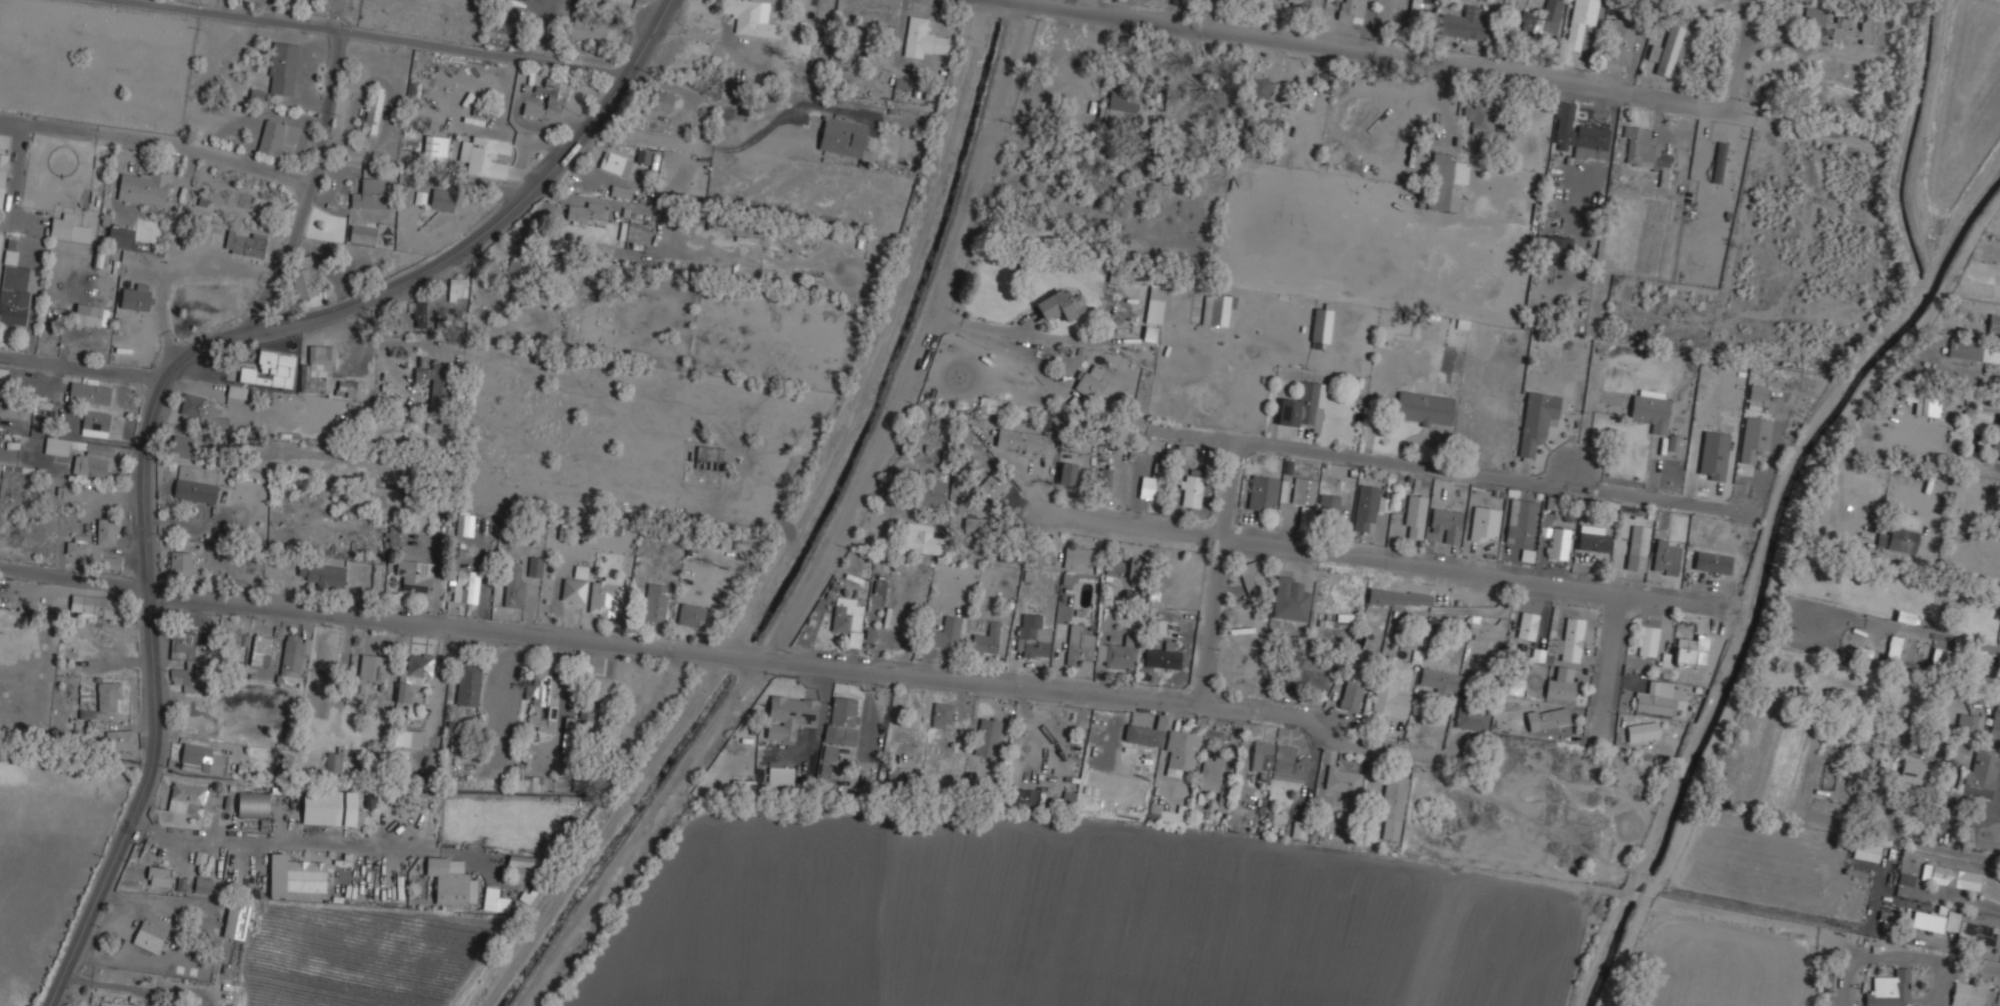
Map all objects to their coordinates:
building: (1298, 1)
building: (614, 8)
building: (1351, 10)
building: (1414, 11)
building: (749, 17)
building: (1542, 21)
building: (1580, 21)
building: (1465, 24)
building: (1840, 24)
building: (585, 28)
building: (495, 29)
road: (376, 35)
building: (922, 39)
building: (1620, 42)
building: (1672, 50)
building: (1653, 53)
road: (1417, 56)
building: (282, 68)
building: (1257, 90)
building: (548, 101)
building: (663, 101)
building: (372, 110)
building: (1118, 110)
building: (1481, 116)
building: (1263, 125)
building: (1578, 135)
building: (271, 137)
building: (842, 137)
road: (157, 138)
building: (434, 148)
building: (1645, 152)
building: (484, 156)
building: (643, 156)
building: (615, 163)
building: (1718, 163)
building: (2, 169)
building: (1443, 180)
building: (142, 186)
road: (307, 190)
building: (370, 193)
building: (442, 200)
building: (584, 212)
building: (67, 227)
building: (361, 234)
building: (633, 234)
building: (120, 237)
building: (244, 242)
building: (1557, 246)
building: (520, 268)
building: (304, 276)
building: (13, 288)
building: (457, 288)
building: (135, 297)
building: (1061, 305)
building: (1155, 305)
building: (1214, 310)
building: (418, 313)
building: (90, 315)
building: (390, 321)
building: (1993, 324)
building: (1149, 334)
road: (877, 335)
building: (1974, 349)
building: (315, 367)
road: (82, 368)
building: (270, 370)
road: (166, 376)
building: (1092, 383)
building: (436, 384)
building: (350, 389)
building: (88, 391)
building: (1756, 393)
building: (1926, 405)
building: (994, 406)
building: (1303, 407)
building: (9, 408)
building: (1423, 408)
building: (1651, 410)
building: (202, 411)
building: (41, 413)
building: (1537, 421)
building: (94, 422)
road: (1192, 435)
building: (1995, 437)
road: (1584, 439)
building: (1754, 439)
building: (1020, 440)
building: (55, 445)
building: (1144, 445)
building: (181, 446)
building: (1714, 455)
building: (93, 460)
road: (1444, 470)
building: (1067, 474)
building: (1104, 481)
building: (992, 484)
building: (194, 491)
building: (1191, 491)
building: (69, 492)
building: (1303, 492)
building: (1262, 493)
building: (929, 494)
building: (1329, 504)
building: (1365, 507)
building: (1415, 516)
building: (1521, 521)
road: (1978, 523)
building: (464, 524)
building: (1484, 524)
building: (1446, 525)
building: (977, 526)
building: (106, 531)
building: (396, 536)
building: (920, 539)
building: (1593, 539)
building: (1880, 539)
building: (1901, 539)
building: (1558, 543)
building: (77, 545)
building: (1637, 547)
road: (1330, 554)
building: (1665, 556)
building: (1076, 557)
building: (1712, 561)
building: (179, 563)
building: (535, 567)
building: (1121, 567)
building: (322, 575)
building: (415, 576)
building: (1251, 576)
building: (464, 585)
building: (879, 587)
building: (514, 588)
building: (573, 590)
building: (604, 596)
road: (1679, 597)
building: (1399, 598)
building: (654, 602)
building: (102, 607)
road: (1619, 611)
building: (690, 615)
road: (363, 616)
building: (1904, 616)
building: (847, 619)
road: (1210, 620)
building: (1526, 624)
building: (944, 634)
building: (1999, 635)
building: (1032, 637)
building: (1572, 639)
building: (232, 640)
building: (986, 640)
building: (1647, 640)
building: (1078, 645)
building: (1693, 645)
building: (260, 650)
building: (1117, 653)
building: (293, 655)
building: (1941, 657)
building: (1162, 658)
building: (1901, 661)
building: (184, 662)
building: (370, 668)
building: (1307, 672)
building: (1659, 672)
building: (413, 673)
road: (1608, 675)
building: (1436, 680)
building: (537, 683)
building: (468, 684)
building: (1997, 684)
building: (1353, 686)
building: (598, 687)
road: (1082, 689)
building: (1558, 689)
building: (1389, 697)
building: (103, 700)
building: (1654, 703)
building: (791, 711)
building: (941, 714)
building: (541, 716)
building: (1546, 717)
building: (585, 719)
building: (1471, 719)
building: (842, 720)
building: (1969, 723)
building: (1994, 723)
building: (1645, 731)
building: (1145, 732)
building: (987, 736)
building: (401, 738)
building: (120, 739)
building: (1180, 750)
building: (830, 755)
building: (203, 758)
building: (1277, 761)
building: (332, 764)
building: (1981, 770)
building: (1914, 772)
building: (1342, 778)
building: (1213, 779)
building: (767, 782)
building: (525, 783)
building: (191, 798)
building: (1021, 798)
building: (1064, 801)
building: (253, 805)
building: (328, 806)
building: (1391, 807)
building: (1174, 816)
road: (604, 829)
building: (1865, 851)
building: (491, 855)
crop: (50, 856)
building: (518, 863)
building: (306, 874)
building: (158, 875)
building: (1954, 877)
building: (1905, 878)
building: (274, 881)
building: (450, 882)
building: (202, 884)
road: (149, 898)
building: (494, 901)
building: (235, 919)
building: (1951, 921)
building: (1930, 922)
building: (1975, 932)
building: (148, 936)
building: (1889, 989)
building: (1969, 995)
building: (116, 1003)

